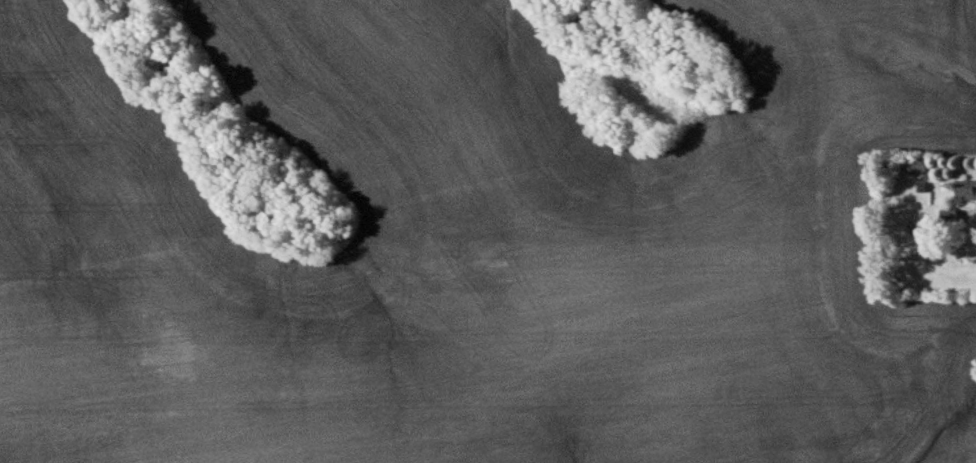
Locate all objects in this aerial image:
building: (912, 162)
building: (964, 186)

